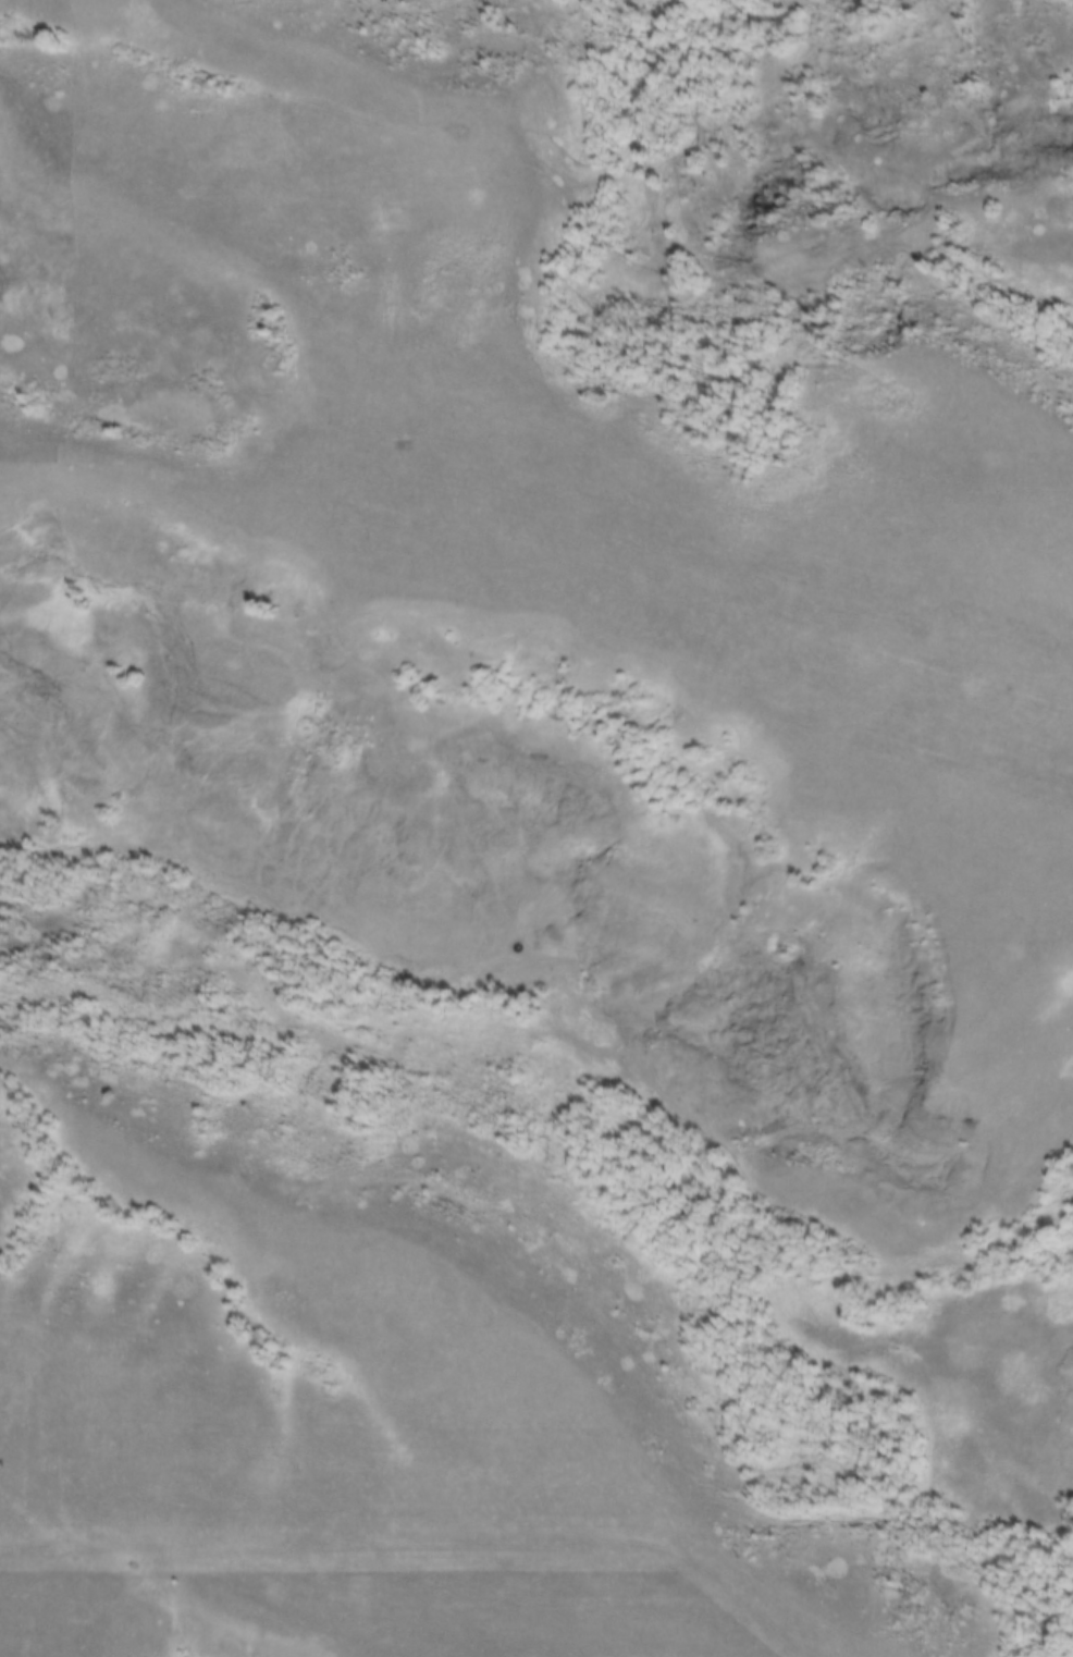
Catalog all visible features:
road: (419, 1567)

